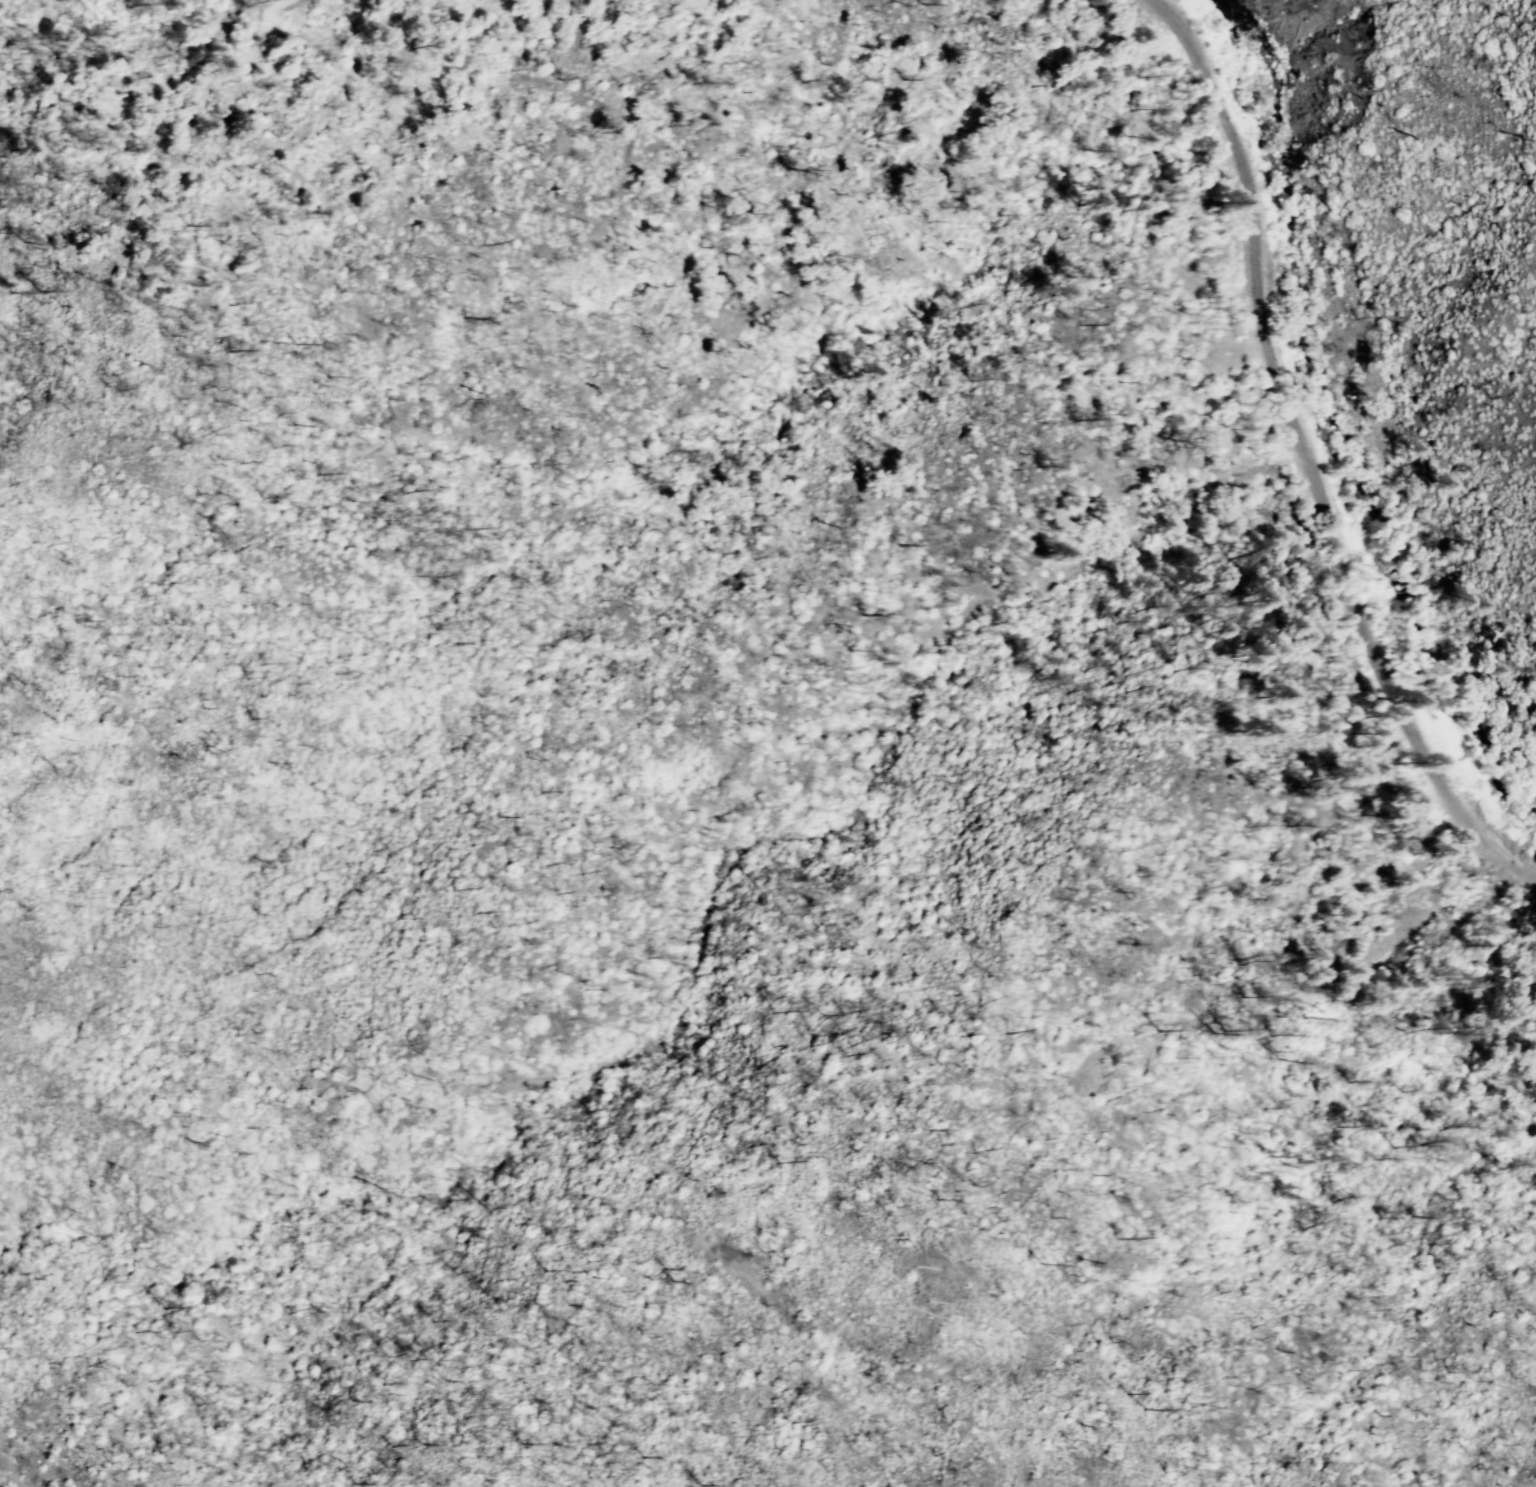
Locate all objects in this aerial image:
road: (1307, 456)

